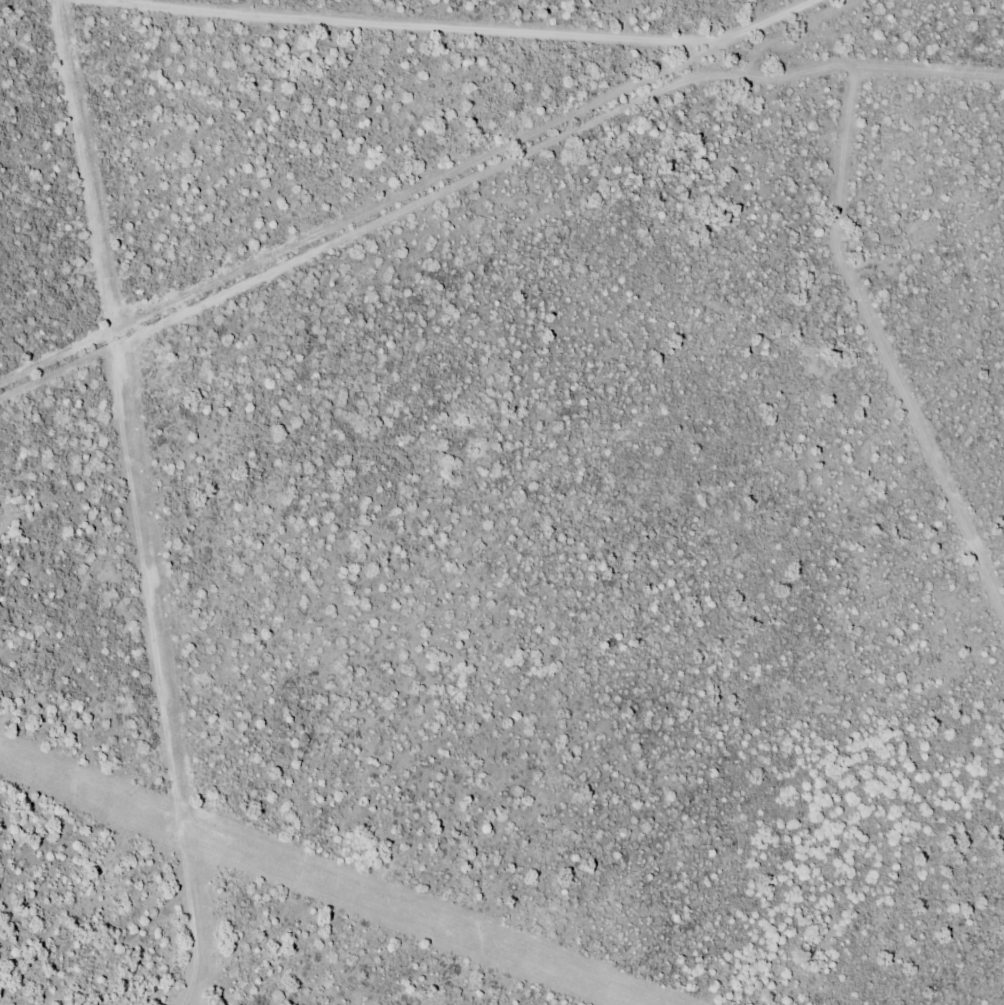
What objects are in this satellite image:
road: (554, 36)
road: (418, 218)

